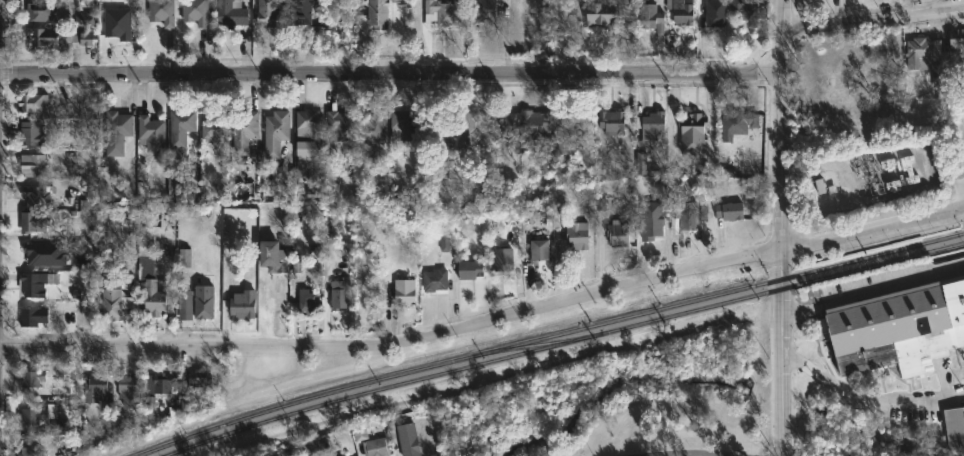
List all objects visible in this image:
building: (41, 10)
building: (745, 10)
building: (161, 11)
building: (195, 11)
building: (445, 11)
building: (485, 11)
building: (268, 12)
building: (301, 12)
building: (607, 12)
building: (232, 13)
building: (378, 13)
building: (716, 13)
building: (684, 14)
road: (785, 14)
road: (874, 16)
building: (652, 18)
building: (117, 23)
building: (62, 35)
building: (958, 40)
building: (926, 56)
road: (391, 71)
building: (32, 101)
building: (526, 121)
building: (613, 121)
building: (739, 122)
building: (341, 124)
building: (651, 124)
building: (181, 125)
building: (403, 125)
building: (215, 126)
building: (310, 129)
building: (373, 129)
building: (244, 130)
building: (116, 131)
building: (276, 132)
building: (465, 132)
building: (693, 132)
building: (31, 133)
building: (151, 133)
road: (782, 139)
building: (557, 142)
building: (307, 156)
building: (640, 163)
building: (32, 165)
building: (908, 170)
building: (451, 174)
building: (818, 186)
building: (35, 195)
building: (469, 198)
building: (151, 207)
building: (730, 210)
building: (685, 217)
building: (652, 220)
building: (33, 221)
building: (618, 234)
building: (578, 235)
road: (873, 235)
building: (444, 243)
building: (540, 249)
building: (43, 253)
building: (274, 255)
building: (183, 258)
building: (504, 259)
building: (471, 269)
building: (151, 275)
road: (892, 279)
building: (435, 280)
building: (35, 283)
building: (405, 292)
building: (339, 295)
building: (111, 299)
building: (204, 301)
road: (801, 301)
building: (308, 303)
building: (184, 304)
building: (243, 304)
building: (32, 316)
building: (898, 328)
railway: (548, 336)
road: (396, 343)
railway: (562, 343)
railway: (535, 345)
road: (781, 353)
road: (800, 363)
building: (31, 378)
building: (196, 379)
building: (158, 383)
building: (95, 388)
building: (128, 390)
road: (888, 409)
building: (106, 412)
building: (31, 416)
building: (120, 419)
building: (59, 426)
building: (953, 427)
park: (663, 429)
building: (408, 439)
building: (310, 446)
building: (376, 447)
building: (31, 451)
building: (340, 455)
road: (666, 455)

